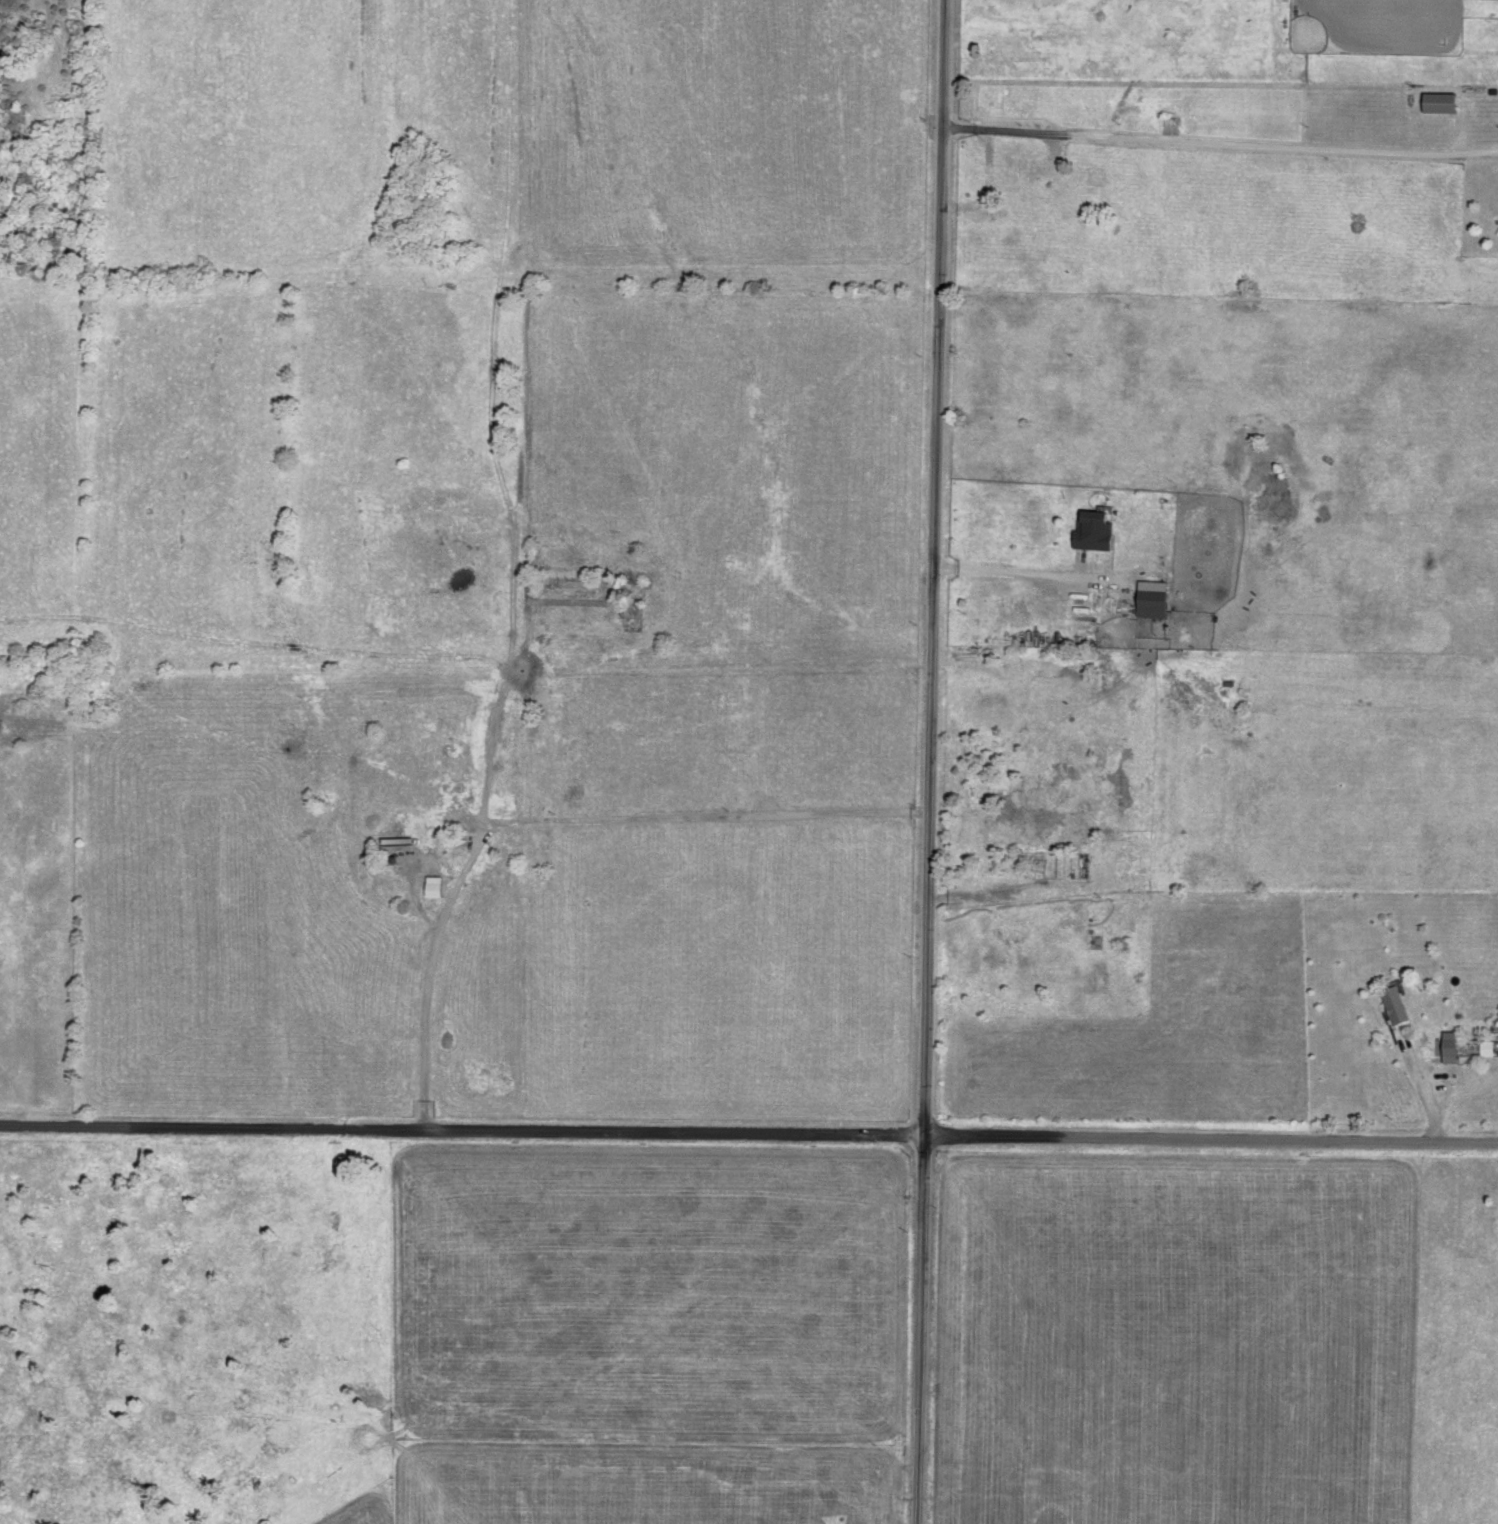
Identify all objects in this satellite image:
building: (1437, 104)
building: (1170, 126)
road: (1219, 142)
building: (1091, 532)
road: (932, 569)
road: (1006, 572)
building: (1149, 601)
road: (546, 824)
building: (1392, 1007)
road: (1427, 1093)
road: (460, 1132)
road: (1209, 1140)
road: (919, 1331)

